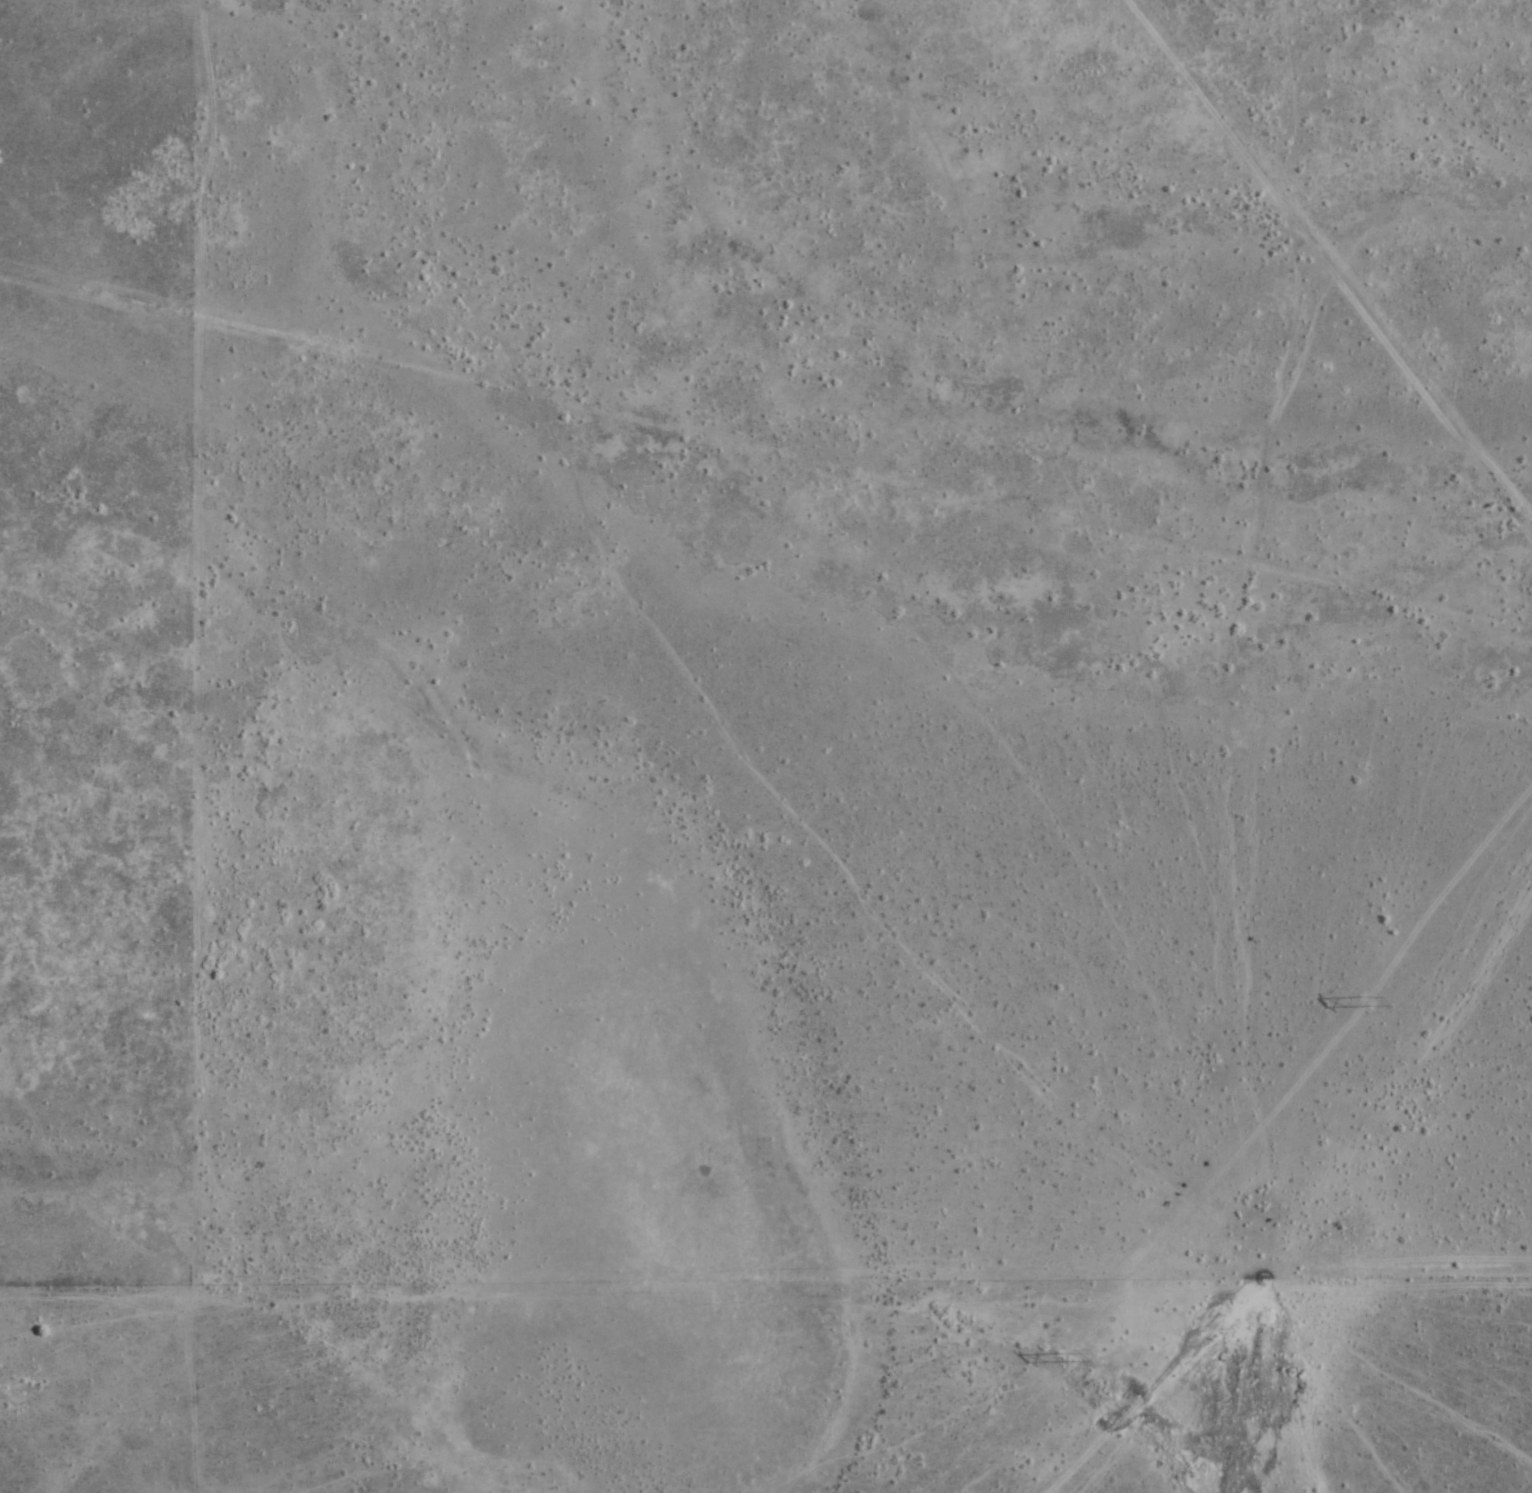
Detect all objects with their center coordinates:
power tower: (1369, 1002)
power tower: (1062, 1360)

